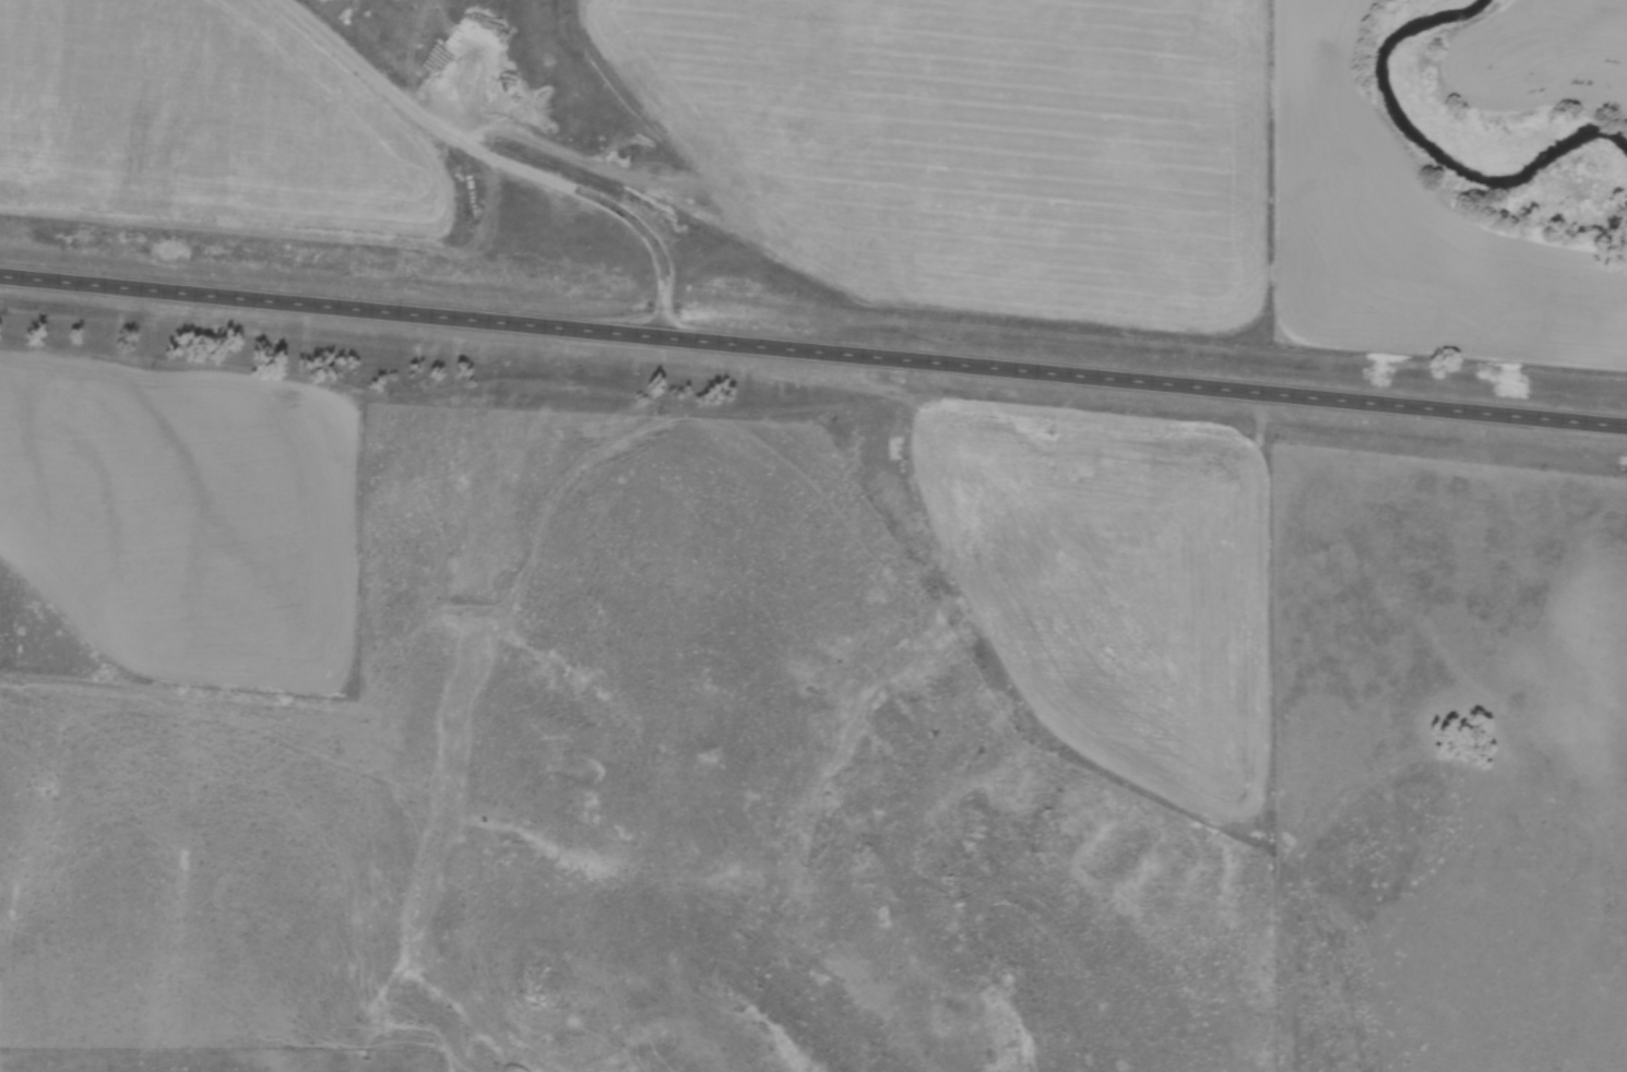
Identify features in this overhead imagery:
road: (507, 159)
road: (812, 352)

